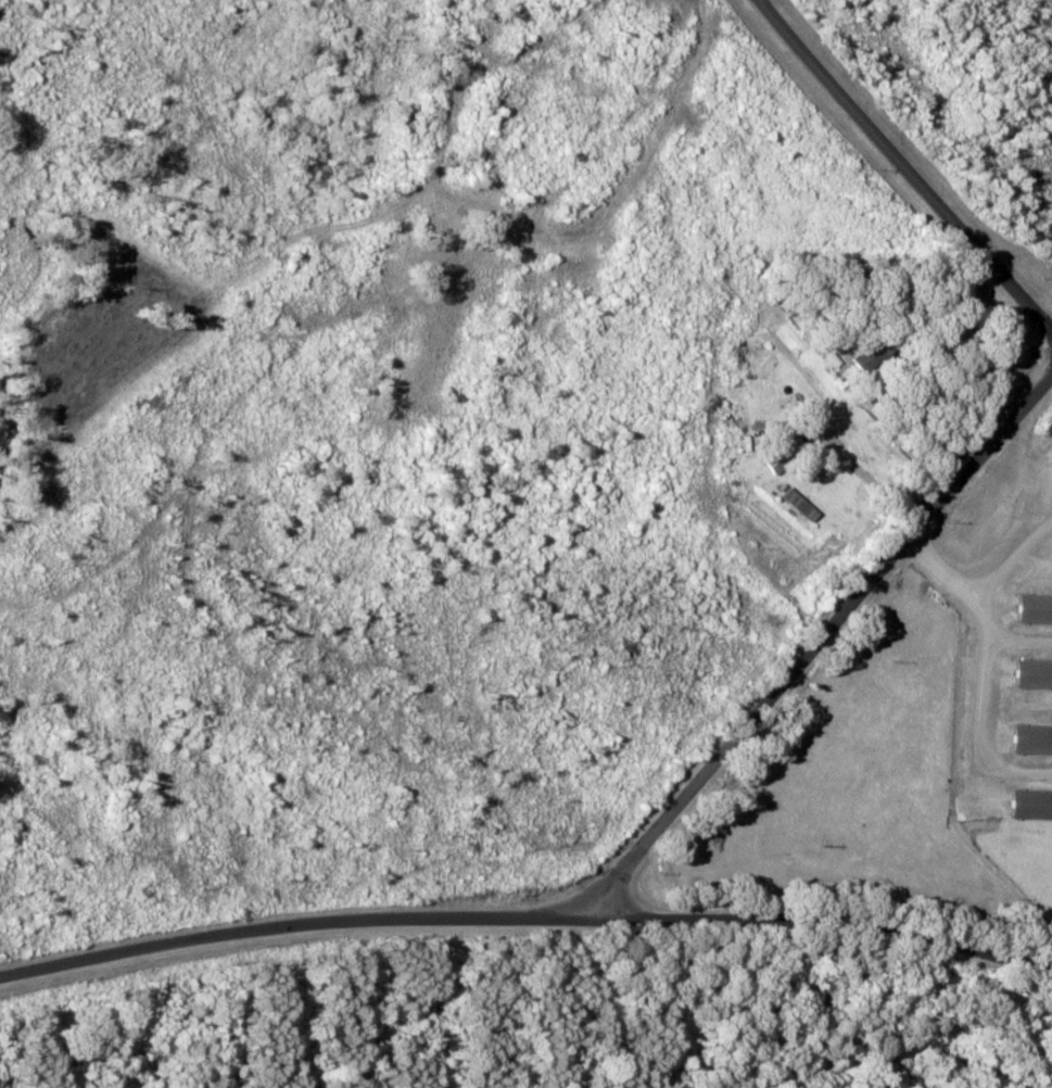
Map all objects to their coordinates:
road: (892, 208)
building: (787, 455)
building: (1037, 609)
building: (1036, 674)
road: (838, 687)
building: (1034, 739)
building: (1032, 806)
road: (294, 922)
road: (824, 975)

